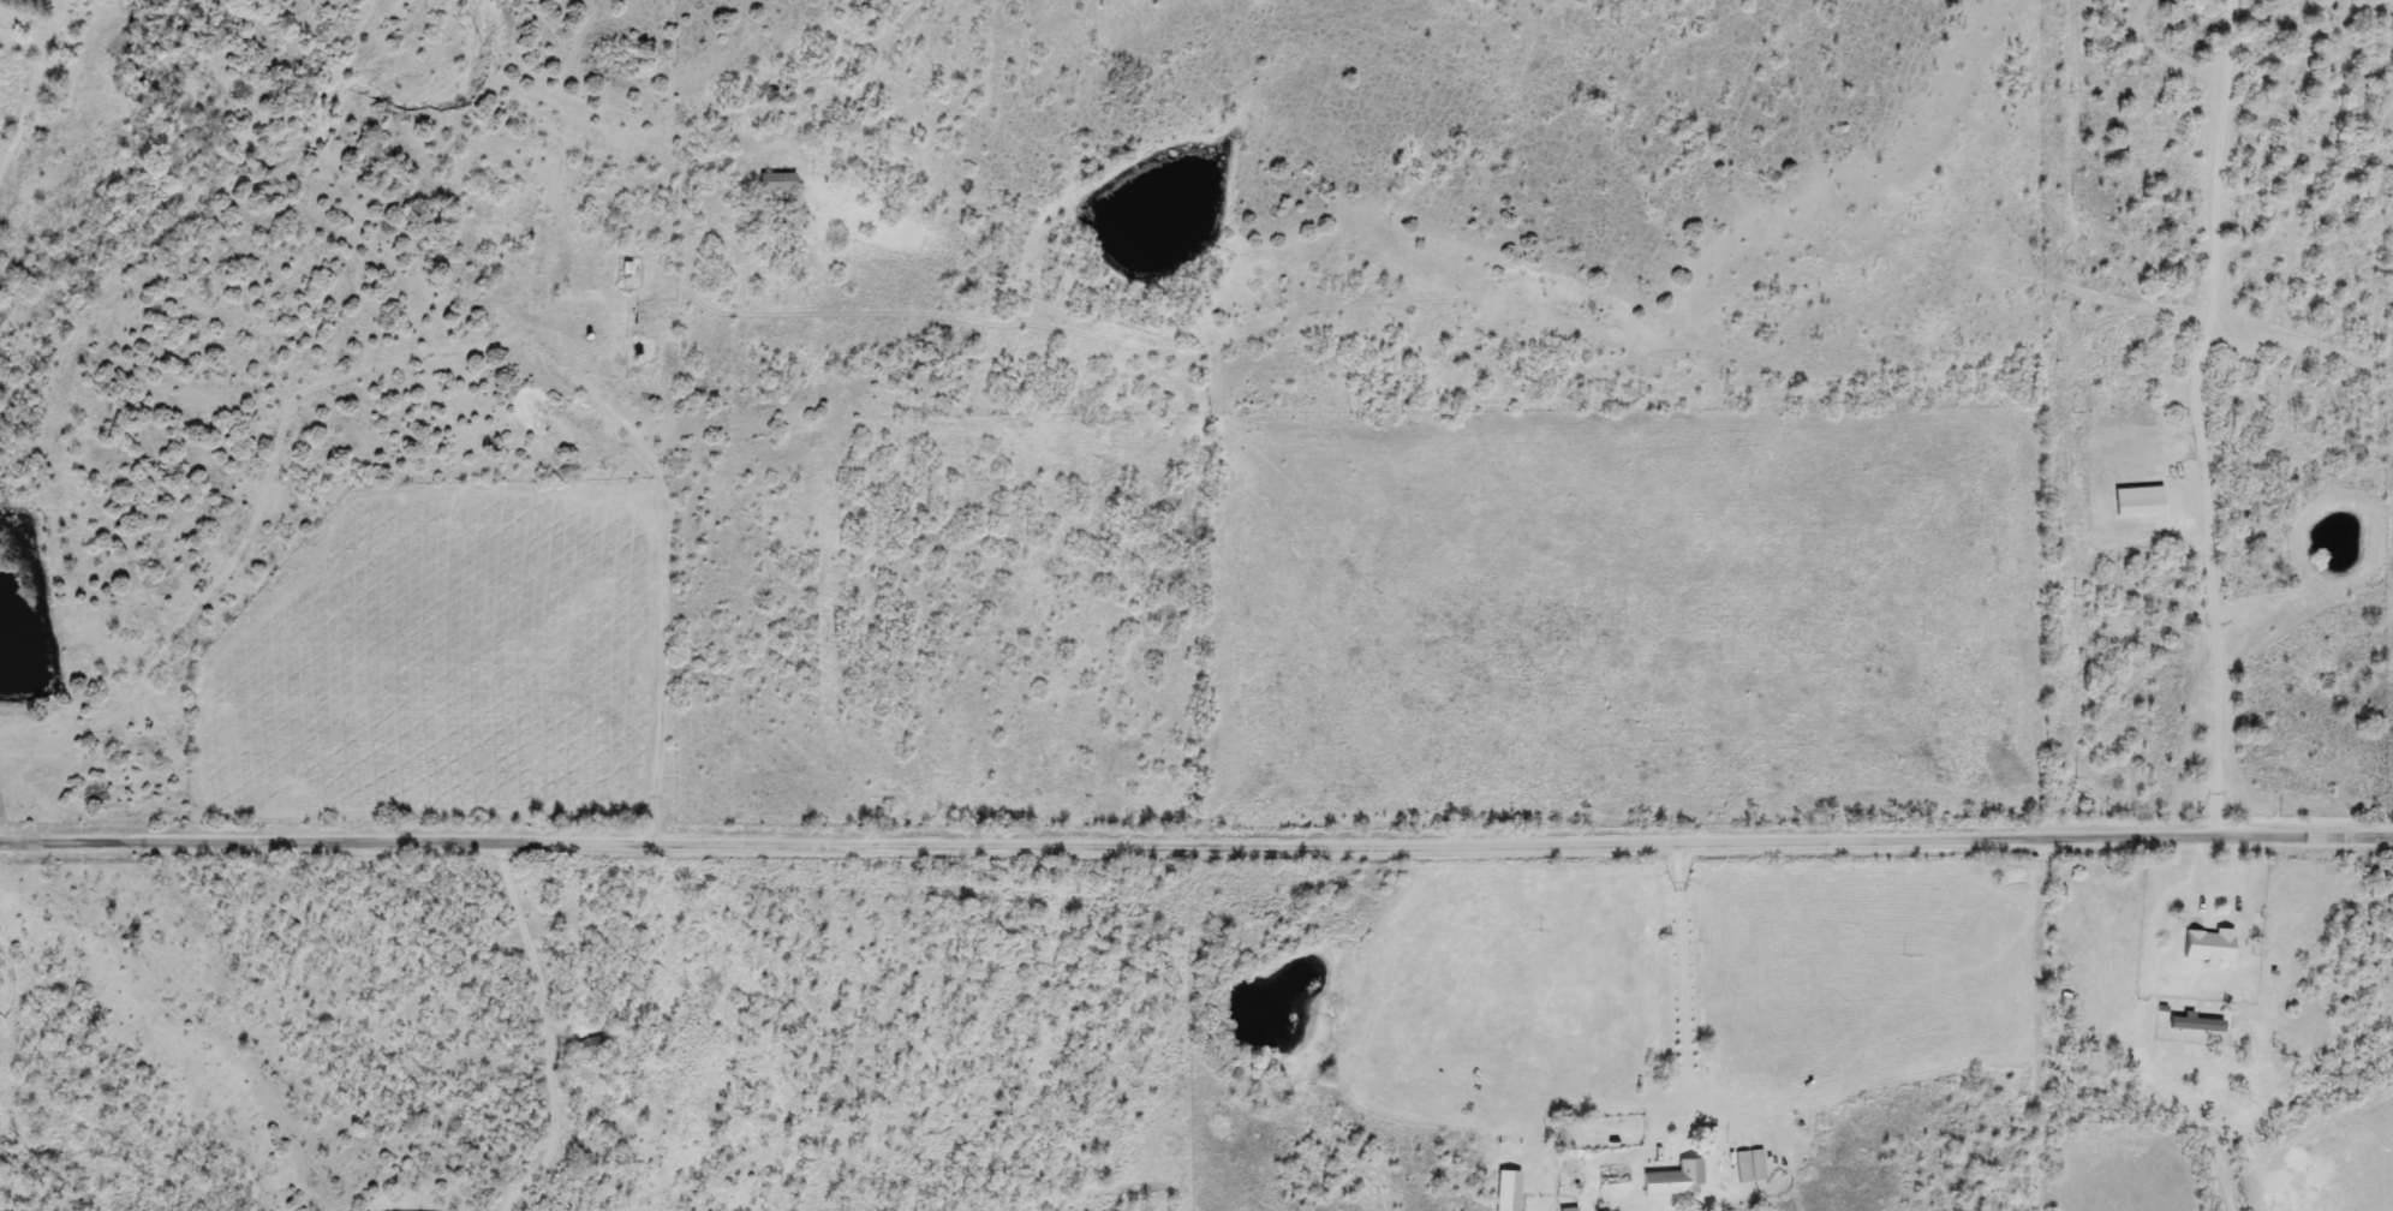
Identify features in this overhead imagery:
road: (869, 43)
building: (778, 184)
road: (548, 358)
road: (2198, 418)
road: (1020, 511)
road: (674, 610)
road: (406, 837)
road: (1603, 840)
building: (2209, 948)
road: (1682, 972)
road: (2034, 1025)
road: (554, 1028)
building: (591, 1046)
building: (2093, 1063)
building: (1676, 1180)
building: (1569, 1210)

